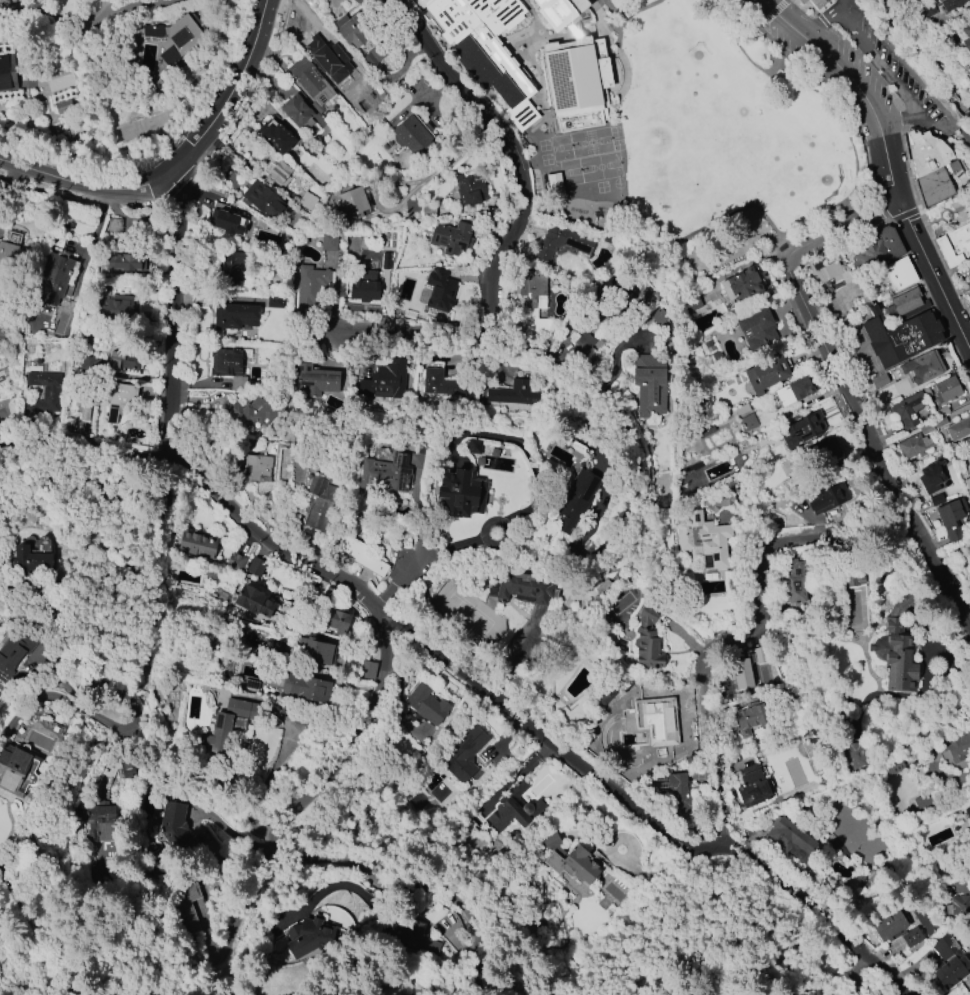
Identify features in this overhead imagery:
building: (5, 0)
building: (803, 1)
road: (136, 2)
building: (818, 2)
building: (951, 4)
road: (109, 5)
road: (637, 9)
building: (562, 11)
road: (772, 11)
road: (824, 17)
road: (618, 21)
road: (759, 24)
building: (350, 29)
building: (173, 37)
building: (966, 37)
road: (741, 47)
building: (487, 48)
river: (922, 54)
building: (375, 56)
building: (324, 59)
road: (877, 61)
road: (911, 67)
road: (359, 71)
building: (6, 73)
building: (578, 81)
building: (310, 82)
road: (857, 85)
building: (63, 106)
building: (297, 112)
road: (911, 114)
park: (719, 120)
road: (952, 130)
building: (412, 133)
building: (277, 137)
road: (512, 150)
road: (179, 166)
building: (930, 167)
park: (806, 170)
building: (279, 173)
building: (470, 188)
road: (414, 192)
building: (263, 200)
building: (308, 201)
building: (351, 203)
building: (411, 205)
road: (816, 215)
building: (226, 220)
building: (451, 238)
building: (329, 242)
building: (561, 243)
building: (955, 246)
building: (879, 249)
building: (9, 254)
building: (124, 263)
building: (231, 267)
building: (824, 271)
building: (900, 273)
road: (933, 276)
building: (53, 277)
building: (740, 285)
building: (310, 286)
building: (442, 286)
building: (364, 290)
building: (616, 294)
building: (534, 300)
building: (691, 301)
building: (906, 303)
building: (120, 307)
road: (175, 312)
building: (235, 316)
building: (757, 329)
road: (424, 331)
building: (900, 337)
building: (584, 341)
road: (578, 358)
building: (123, 362)
building: (923, 367)
building: (230, 371)
building: (766, 374)
building: (316, 380)
building: (385, 380)
building: (438, 380)
building: (879, 380)
building: (649, 384)
road: (844, 386)
building: (947, 389)
building: (794, 391)
building: (46, 393)
building: (513, 394)
building: (120, 399)
building: (908, 409)
building: (244, 411)
building: (748, 423)
building: (704, 429)
building: (958, 429)
building: (800, 431)
road: (87, 440)
building: (473, 446)
building: (913, 446)
building: (827, 451)
road: (99, 468)
building: (257, 468)
building: (384, 475)
building: (931, 478)
building: (967, 483)
building: (461, 492)
road: (641, 492)
building: (832, 497)
building: (577, 499)
building: (720, 501)
building: (319, 502)
building: (950, 519)
building: (704, 539)
building: (198, 547)
building: (358, 555)
road: (424, 555)
building: (32, 556)
building: (235, 563)
building: (254, 569)
building: (852, 581)
building: (793, 585)
building: (522, 587)
building: (254, 602)
building: (341, 623)
road: (754, 628)
building: (646, 644)
building: (314, 651)
building: (899, 653)
building: (13, 654)
road: (77, 655)
building: (368, 670)
building: (741, 674)
building: (306, 688)
road: (58, 700)
building: (427, 705)
building: (751, 720)
building: (660, 721)
building: (230, 723)
road: (540, 734)
building: (854, 744)
building: (958, 747)
building: (463, 753)
building: (14, 769)
building: (128, 769)
building: (754, 789)
building: (674, 791)
building: (922, 801)
building: (513, 809)
building: (967, 814)
building: (103, 821)
building: (177, 828)
building: (791, 839)
road: (291, 851)
building: (568, 860)
building: (186, 905)
building: (958, 906)
road: (245, 907)
building: (896, 929)
building: (309, 933)
building: (410, 937)
building: (950, 962)

